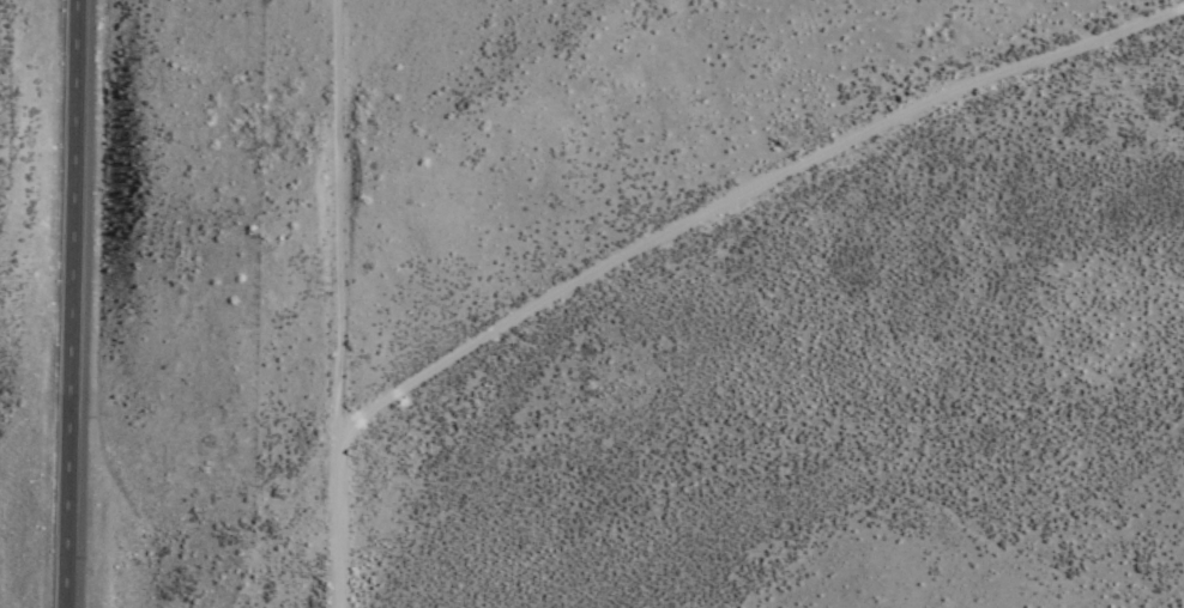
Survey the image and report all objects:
road: (338, 231)
road: (679, 242)
road: (70, 304)
crop: (693, 394)

